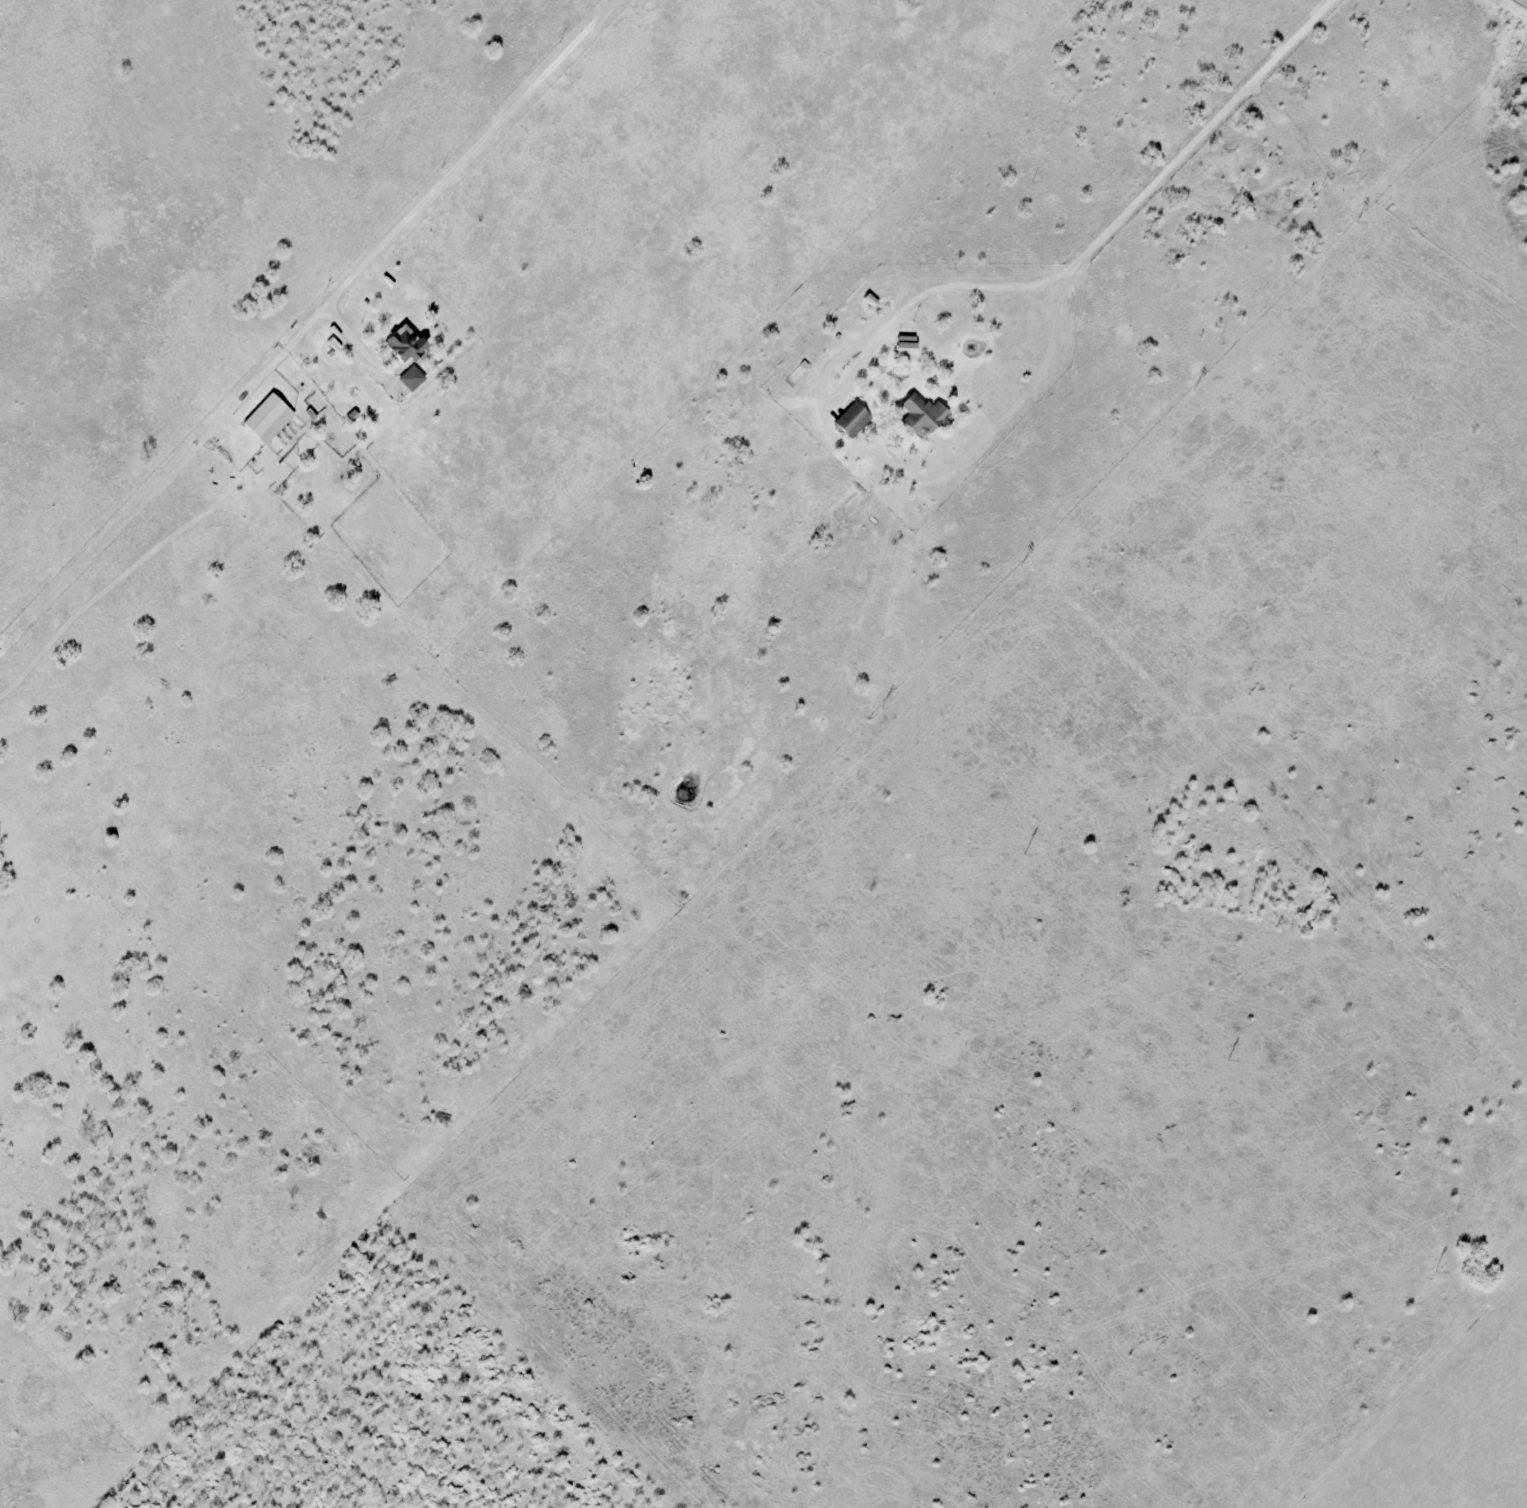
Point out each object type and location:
building: (1287, 194)
building: (407, 354)
building: (921, 414)
building: (268, 419)
building: (852, 420)

